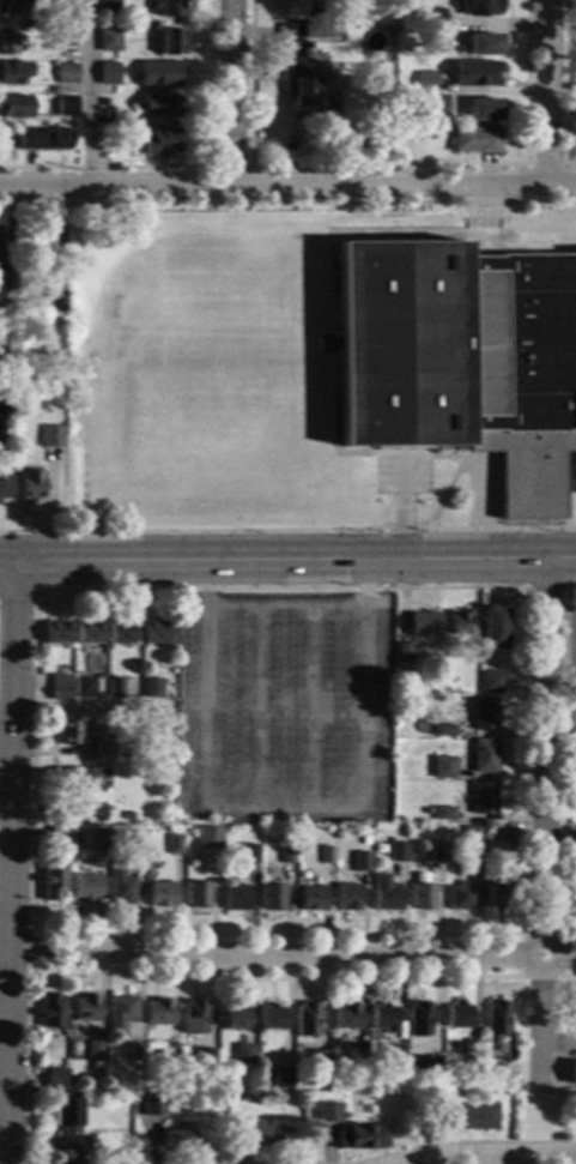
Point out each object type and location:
building: (65, 4)
building: (107, 6)
building: (14, 7)
building: (478, 7)
building: (169, 8)
building: (376, 10)
building: (432, 16)
building: (304, 26)
building: (63, 37)
building: (433, 37)
building: (108, 40)
building: (170, 42)
building: (8, 43)
building: (483, 44)
building: (66, 71)
building: (13, 72)
building: (158, 73)
building: (473, 73)
building: (107, 74)
building: (423, 82)
building: (304, 88)
road: (564, 88)
road: (547, 92)
road: (232, 94)
road: (86, 95)
building: (102, 102)
building: (66, 103)
building: (160, 105)
building: (435, 105)
building: (14, 107)
building: (386, 107)
building: (481, 109)
building: (386, 133)
building: (104, 135)
building: (43, 139)
building: (474, 140)
building: (160, 141)
road: (388, 165)
road: (527, 165)
road: (188, 167)
road: (249, 167)
road: (287, 187)
road: (287, 203)
road: (483, 210)
building: (34, 246)
building: (0, 261)
building: (6, 282)
building: (55, 301)
building: (326, 344)
building: (462, 360)
road: (334, 369)
building: (50, 436)
building: (31, 484)
building: (5, 487)
road: (570, 490)
road: (444, 493)
road: (404, 508)
road: (287, 530)
road: (384, 560)
road: (471, 563)
traffic signals: (420, 565)
traffic signals: (346, 566)
road: (183, 567)
road: (547, 589)
road: (18, 591)
road: (285, 607)
road: (562, 608)
building: (459, 623)
building: (424, 625)
building: (493, 628)
building: (55, 632)
building: (87, 632)
building: (154, 632)
building: (120, 633)
building: (402, 653)
building: (491, 682)
building: (60, 687)
building: (84, 687)
building: (115, 688)
building: (151, 688)
road: (93, 706)
road: (255, 707)
road: (311, 707)
parking lot: (281, 710)
road: (6, 713)
building: (485, 713)
road: (559, 719)
building: (444, 730)
building: (68, 732)
building: (102, 748)
building: (484, 755)
road: (565, 765)
building: (444, 767)
building: (78, 778)
building: (484, 797)
road: (286, 808)
building: (95, 813)
building: (444, 813)
building: (128, 816)
road: (542, 825)
building: (57, 833)
building: (501, 833)
building: (471, 836)
building: (207, 838)
building: (101, 840)
building: (138, 844)
building: (174, 844)
building: (396, 852)
building: (436, 852)
building: (248, 854)
building: (286, 854)
building: (325, 855)
building: (359, 862)
road: (12, 866)
building: (51, 883)
building: (85, 887)
building: (121, 888)
building: (198, 893)
building: (384, 893)
building: (422, 893)
building: (162, 894)
building: (498, 895)
building: (272, 897)
building: (347, 897)
building: (461, 897)
building: (237, 898)
building: (311, 898)
road: (37, 927)
road: (6, 931)
road: (31, 947)
road: (292, 958)
road: (176, 975)
road: (560, 977)
road: (568, 977)
building: (85, 1008)
building: (50, 1011)
building: (159, 1012)
building: (120, 1013)
building: (347, 1015)
building: (459, 1015)
road: (5, 1017)
building: (234, 1017)
building: (574, 1017)
building: (194, 1018)
building: (271, 1018)
building: (384, 1018)
building: (419, 1019)
building: (307, 1020)
building: (496, 1021)
building: (95, 1050)
building: (471, 1050)
building: (134, 1053)
building: (170, 1053)
building: (243, 1054)
building: (322, 1054)
building: (359, 1054)
building: (392, 1054)
building: (204, 1062)
building: (95, 1066)
building: (424, 1068)
building: (495, 1072)
building: (283, 1078)
building: (54, 1079)
building: (71, 1081)
building: (574, 1081)
building: (109, 1085)
building: (152, 1105)
building: (326, 1112)
building: (467, 1117)
building: (66, 1124)
building: (257, 1133)
building: (360, 1138)
building: (175, 1140)
road: (491, 1156)

